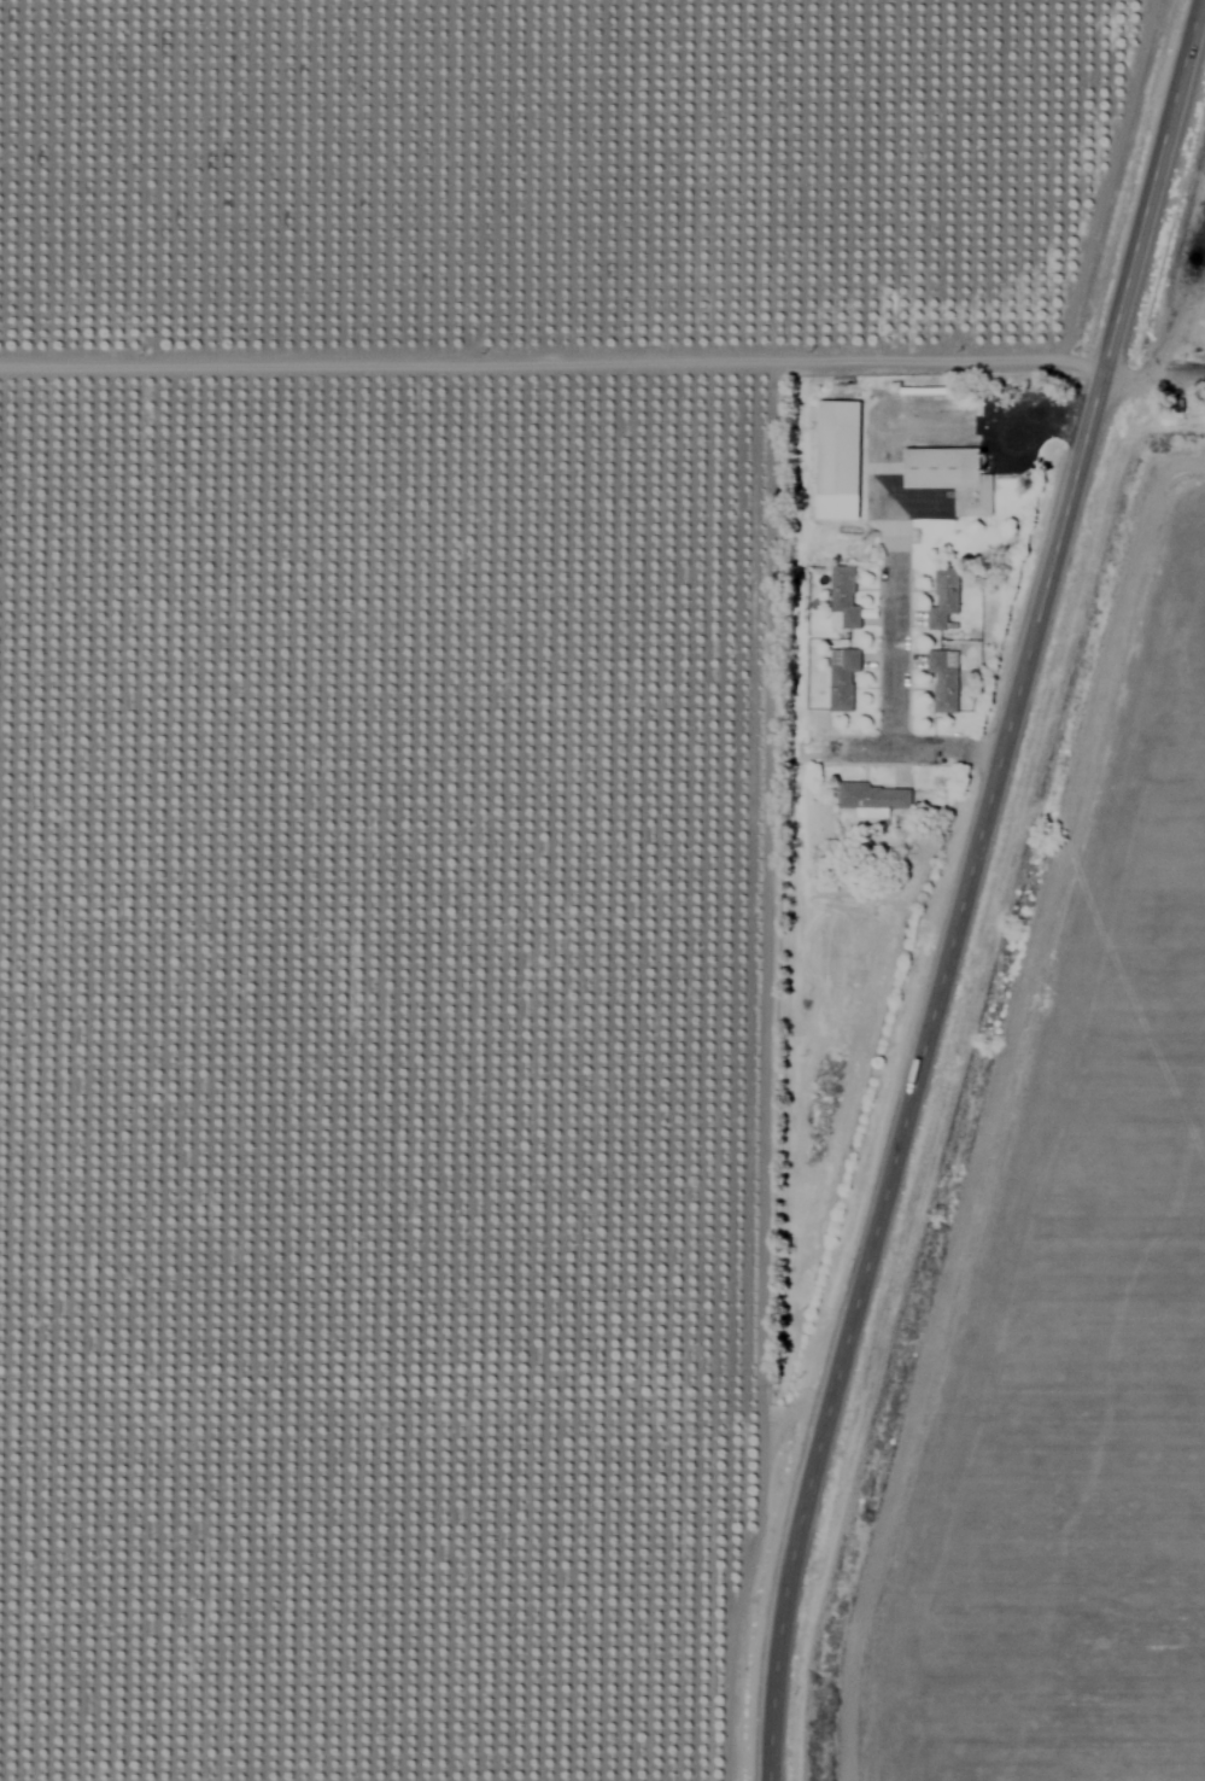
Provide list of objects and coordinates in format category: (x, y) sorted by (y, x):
crop: (572, 180)
road: (1159, 368)
building: (838, 457)
building: (953, 475)
building: (842, 573)
building: (947, 573)
building: (944, 675)
road: (895, 696)
road: (947, 752)
building: (873, 798)
road: (961, 886)
crop: (382, 1073)

